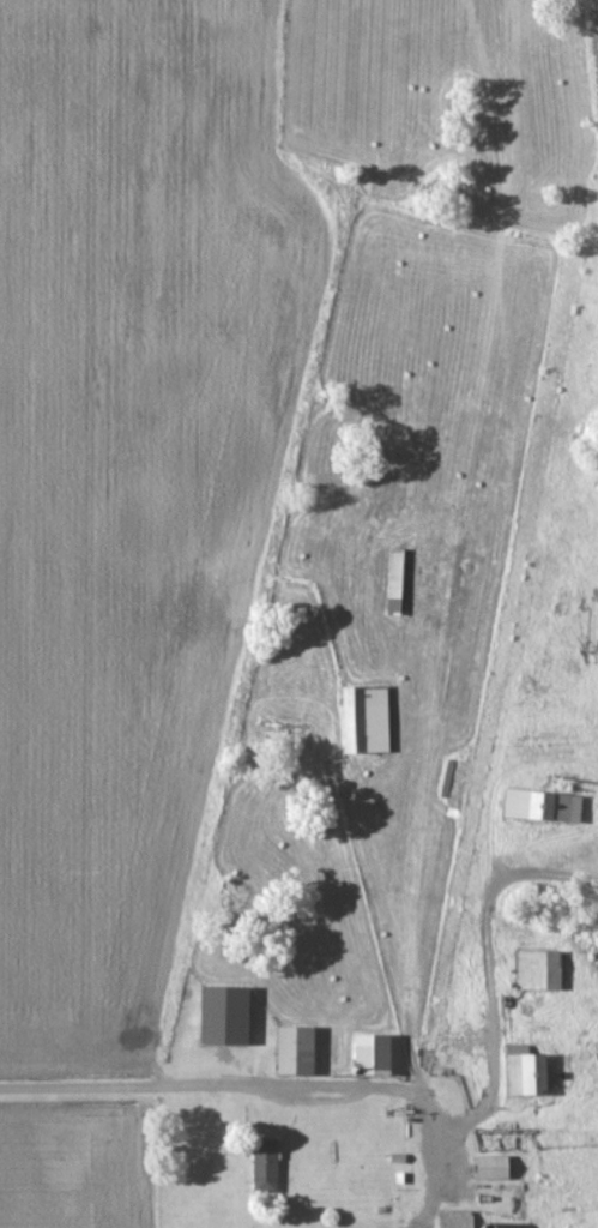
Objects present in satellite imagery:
building: (398, 580)
building: (368, 720)
building: (545, 805)
building: (542, 970)
building: (225, 1013)
building: (295, 1049)
building: (374, 1054)
building: (527, 1071)
road: (265, 1089)
building: (400, 1157)
building: (267, 1166)
building: (497, 1168)
building: (460, 1218)

